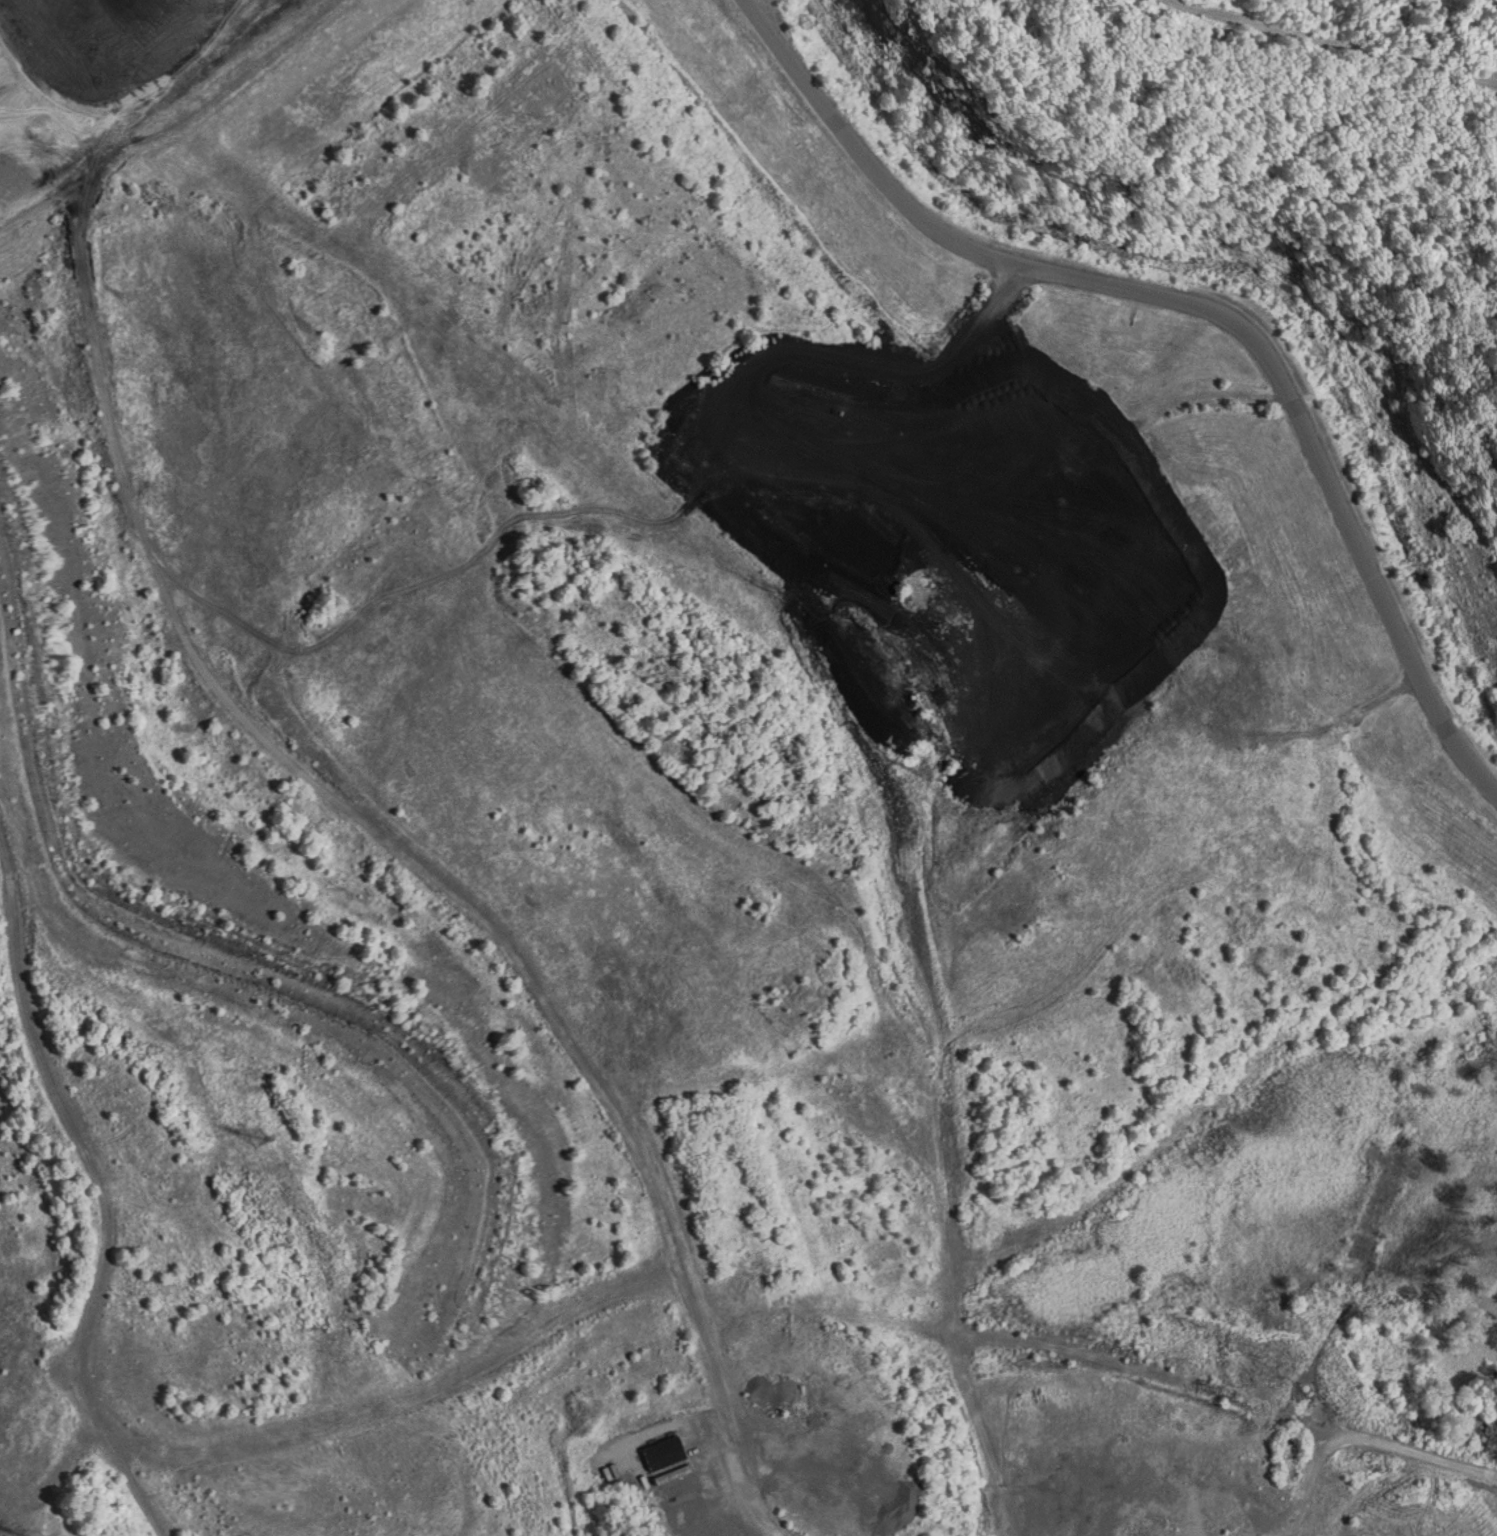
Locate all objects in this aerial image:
building: (662, 1449)
building: (670, 1471)
building: (682, 1498)
building: (1061, 1530)
power tower: (36, 1533)

